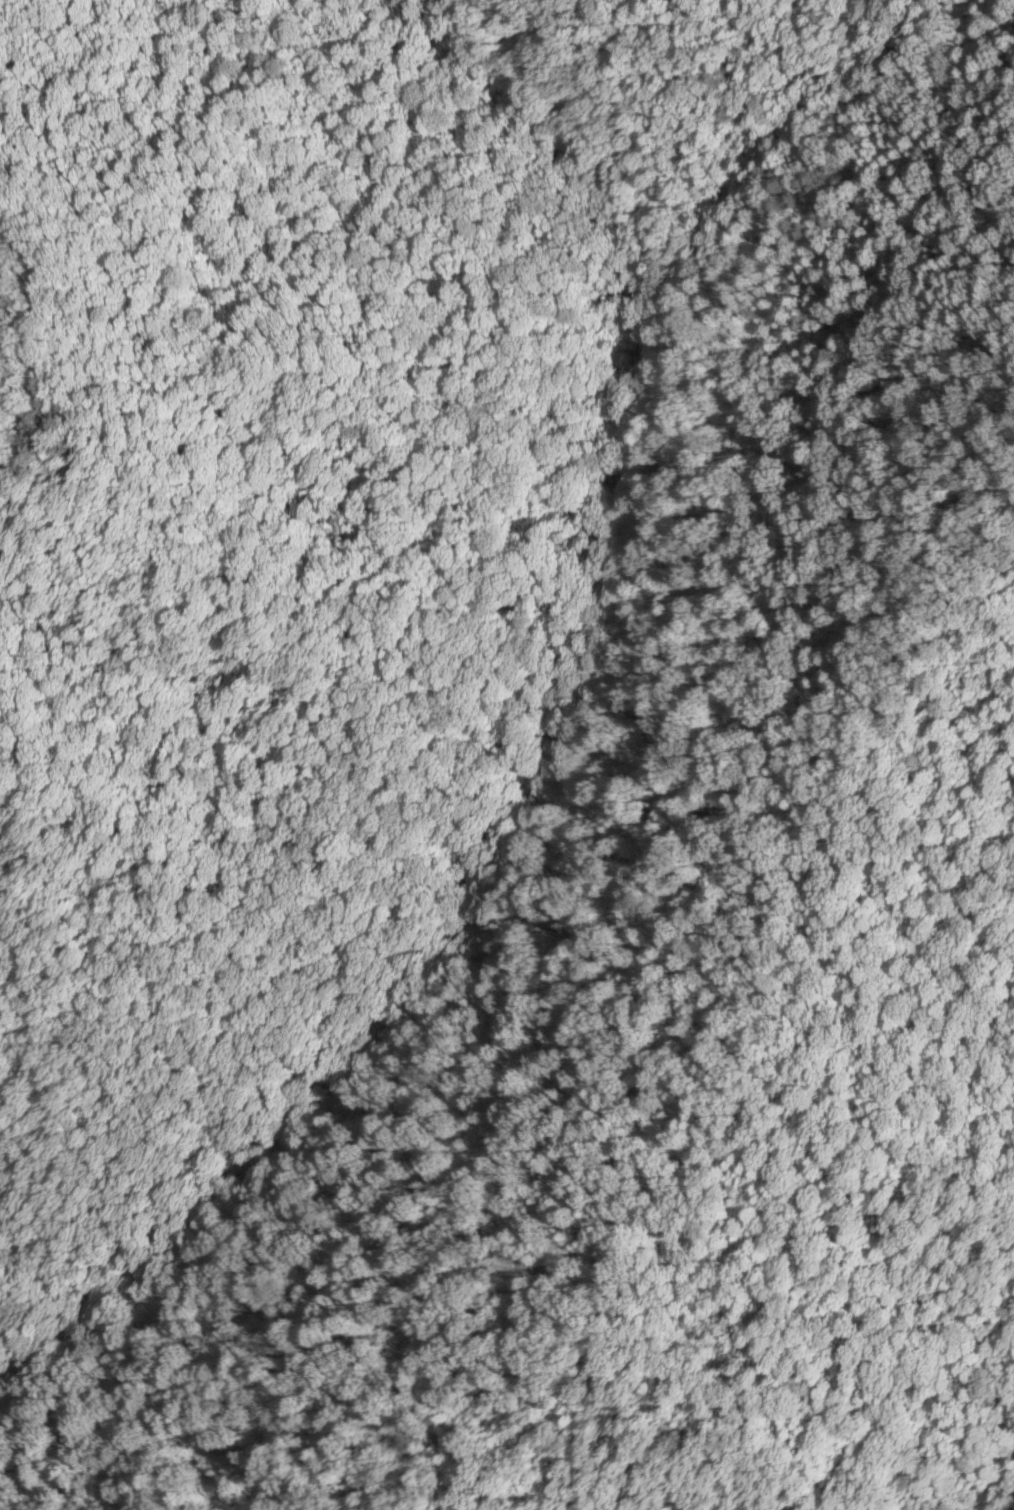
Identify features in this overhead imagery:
road: (1009, 1504)

